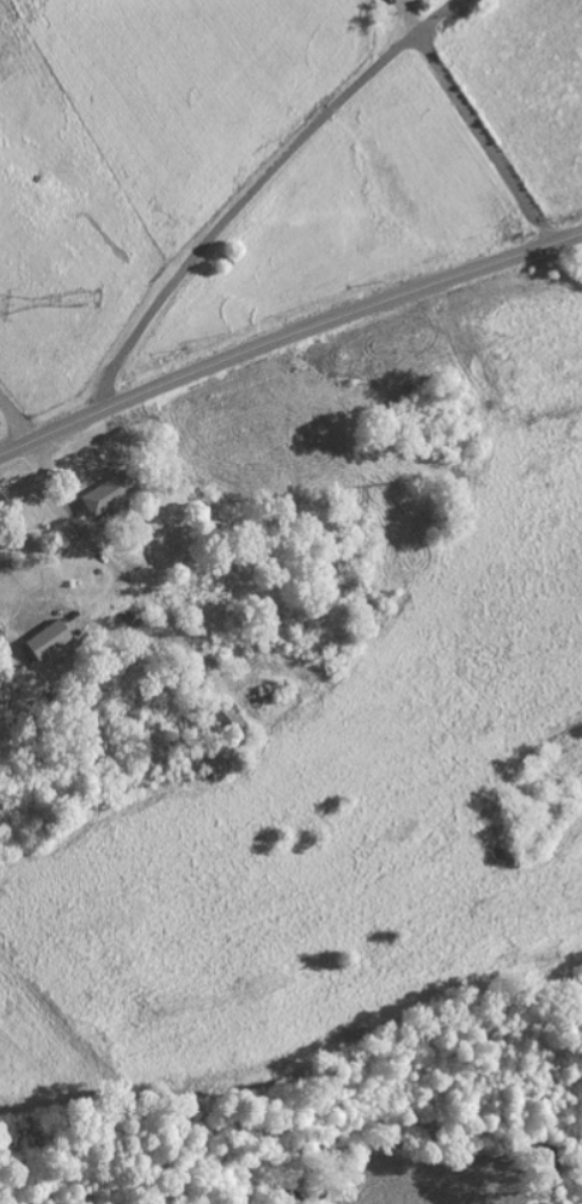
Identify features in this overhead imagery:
road: (440, 13)
road: (485, 136)
road: (240, 206)
power tower: (92, 302)
road: (287, 337)
building: (112, 493)
building: (51, 640)

